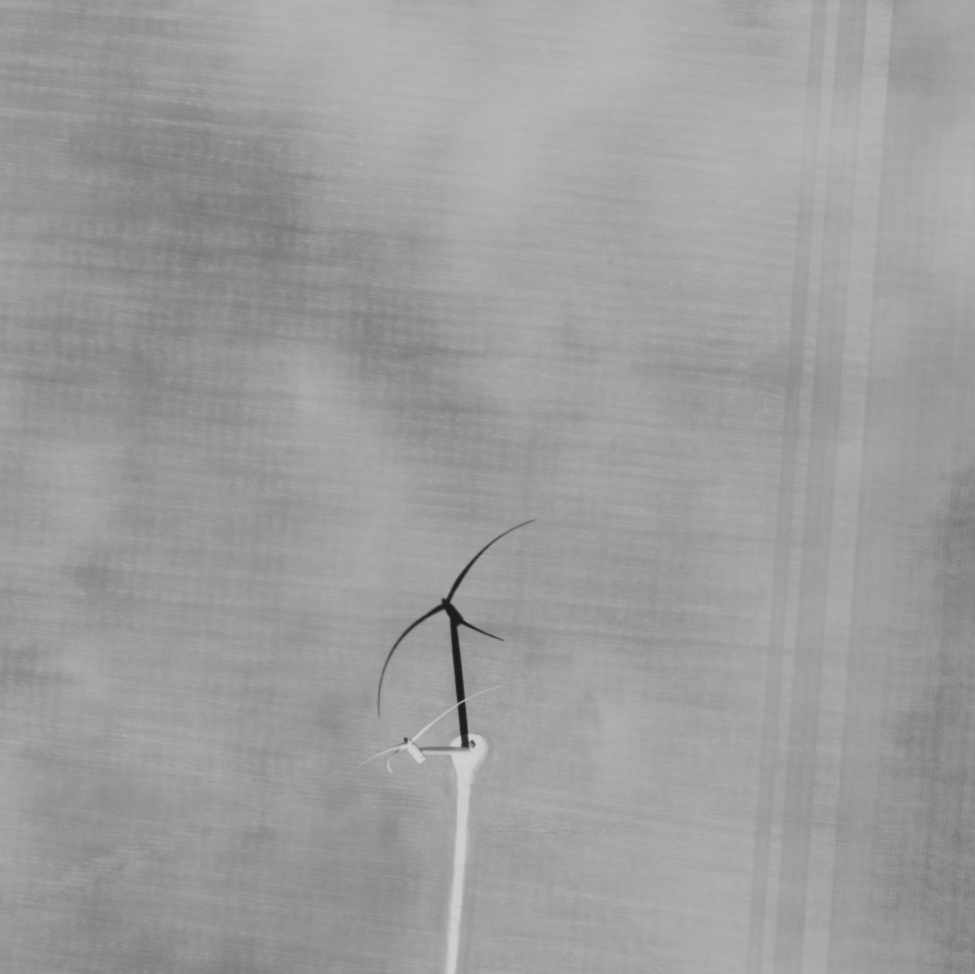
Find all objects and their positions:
wind turbine: (466, 752)

